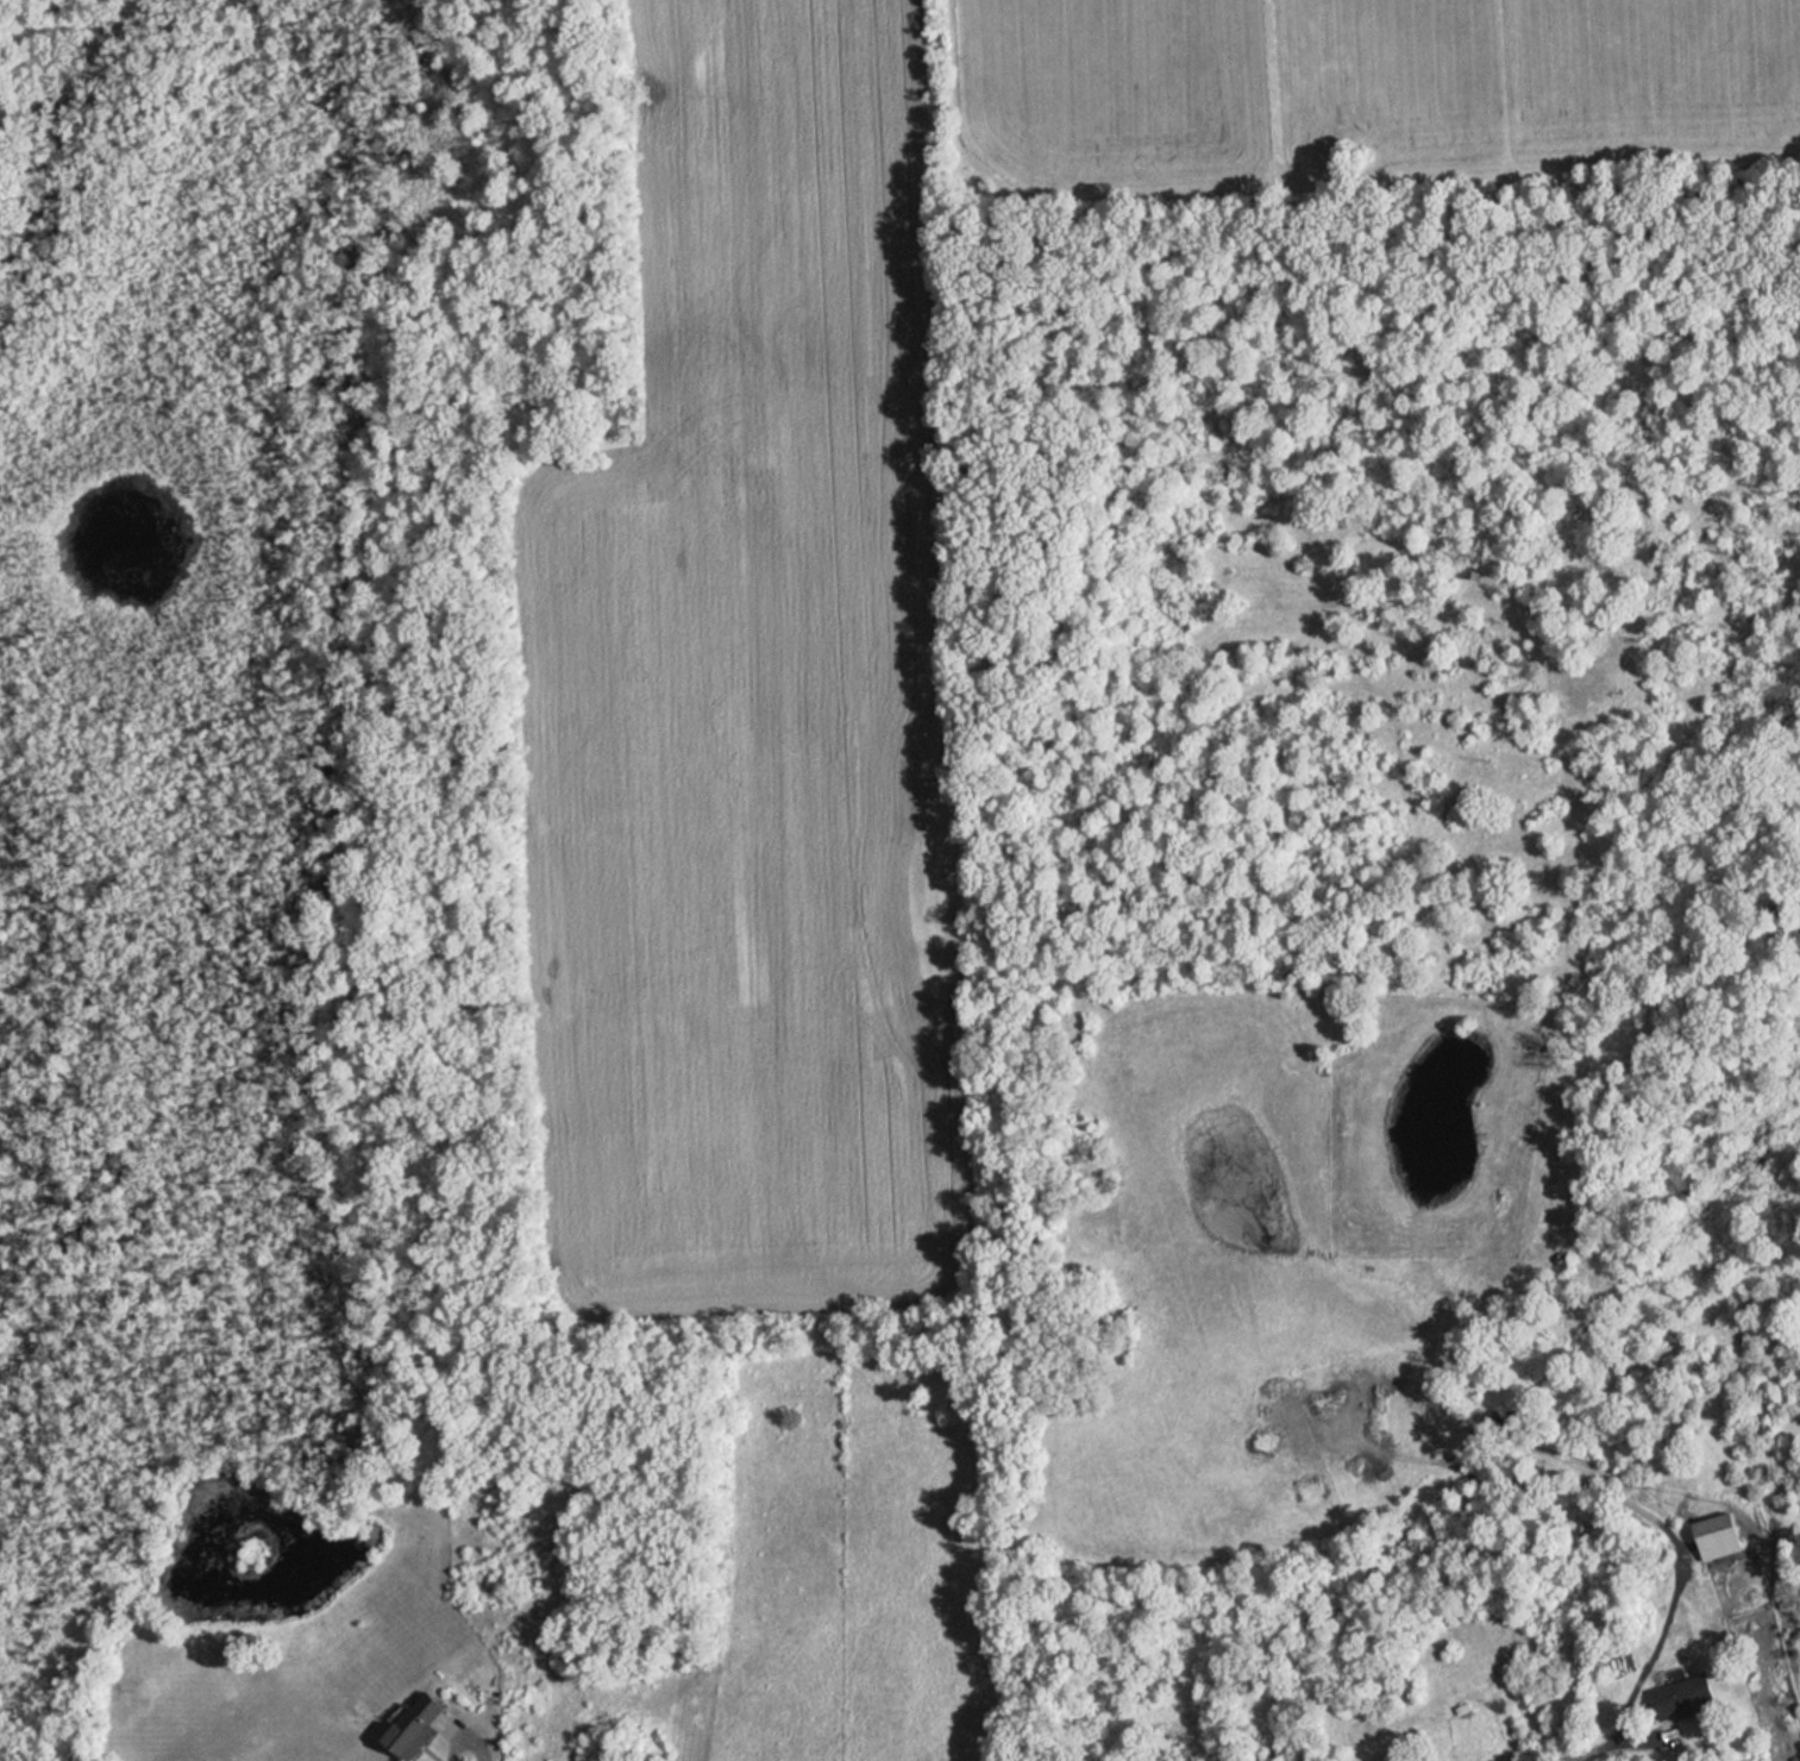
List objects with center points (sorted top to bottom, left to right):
building: (1720, 1536)
building: (1686, 1696)
building: (420, 1725)
road: (1586, 1748)

